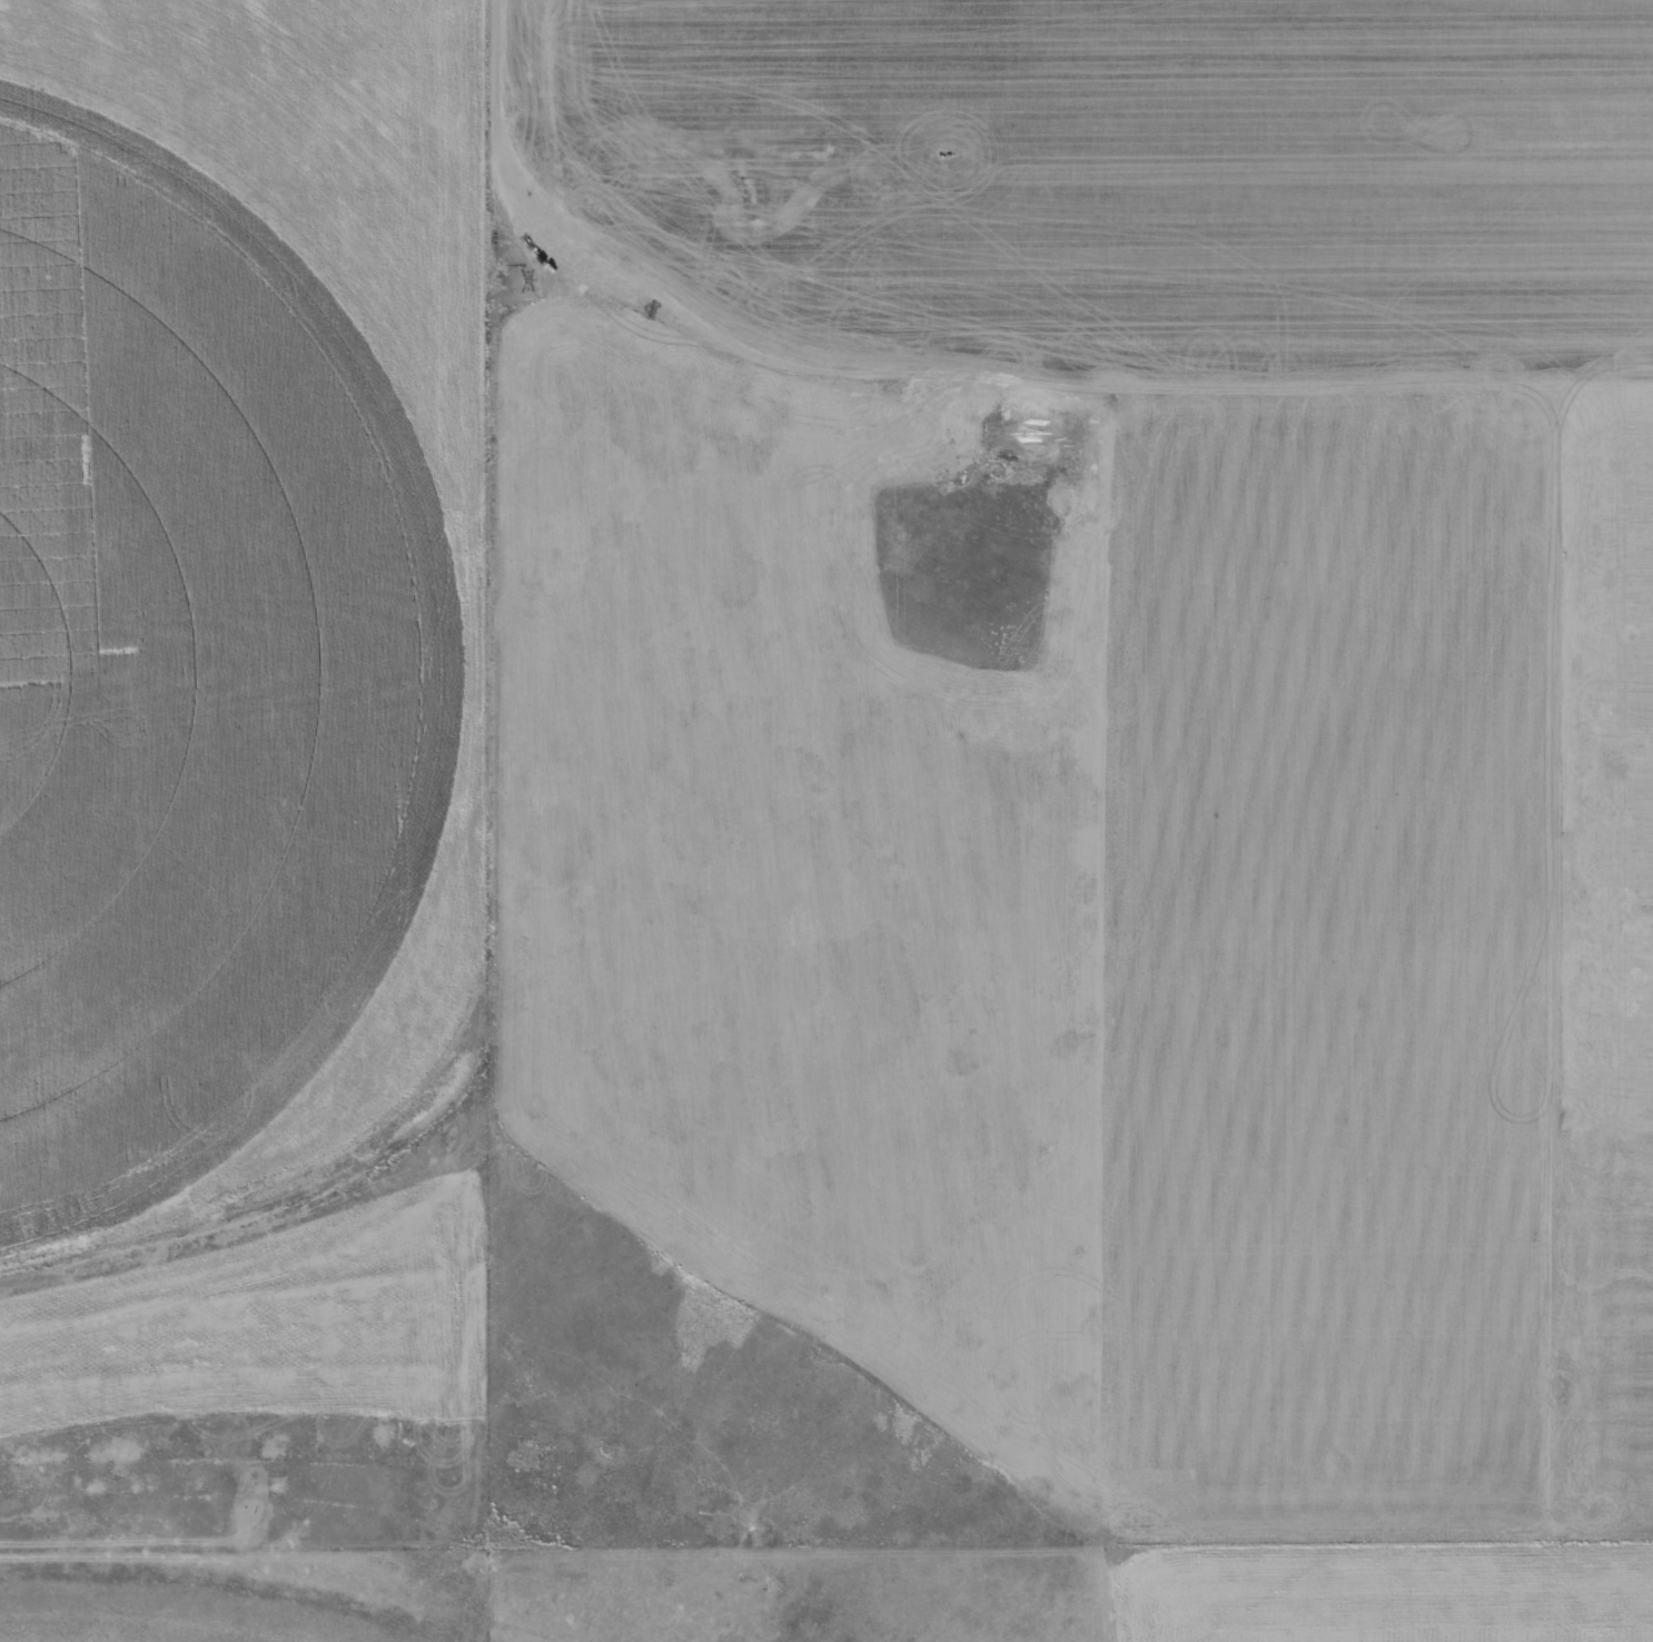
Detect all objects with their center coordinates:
road: (516, 88)

